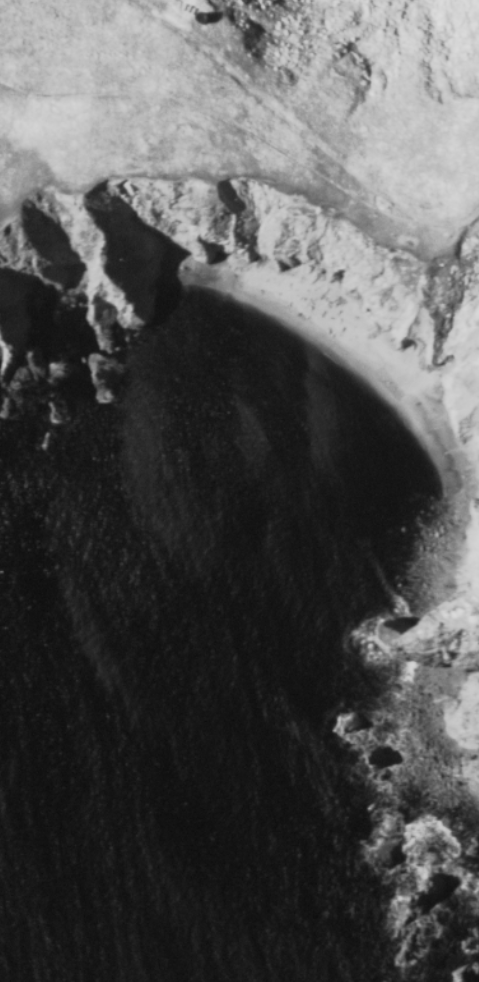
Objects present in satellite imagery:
building: (184, 7)
storage tank: (184, 7)
building: (188, 9)
storage tank: (188, 9)
building: (192, 11)
storage tank: (192, 11)
building: (200, 20)
storage tank: (200, 20)
road: (276, 108)
road: (217, 115)
road: (448, 225)

